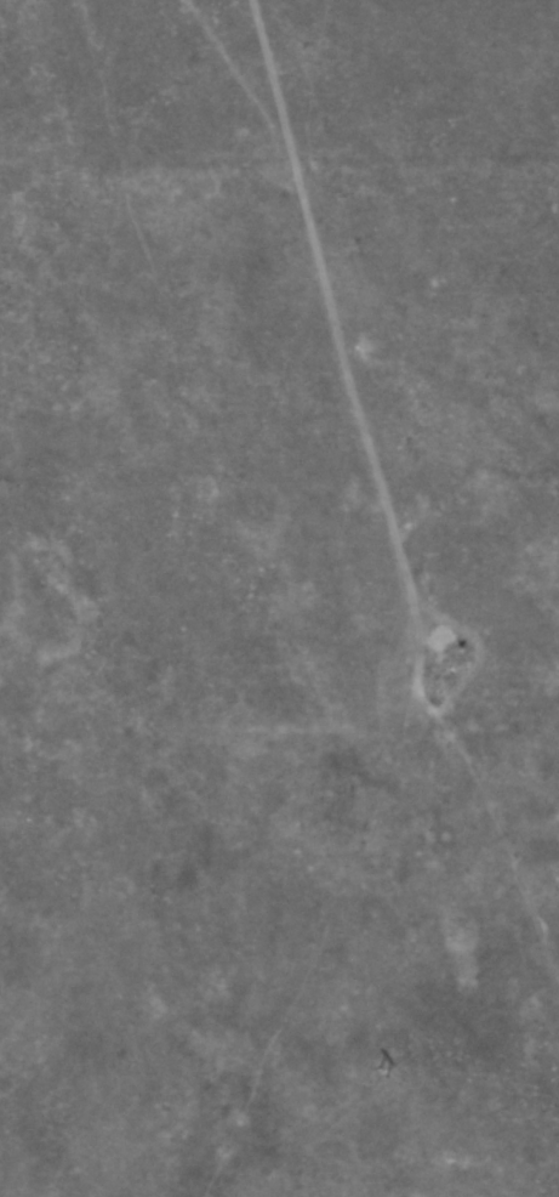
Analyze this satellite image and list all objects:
power tower: (381, 1072)

